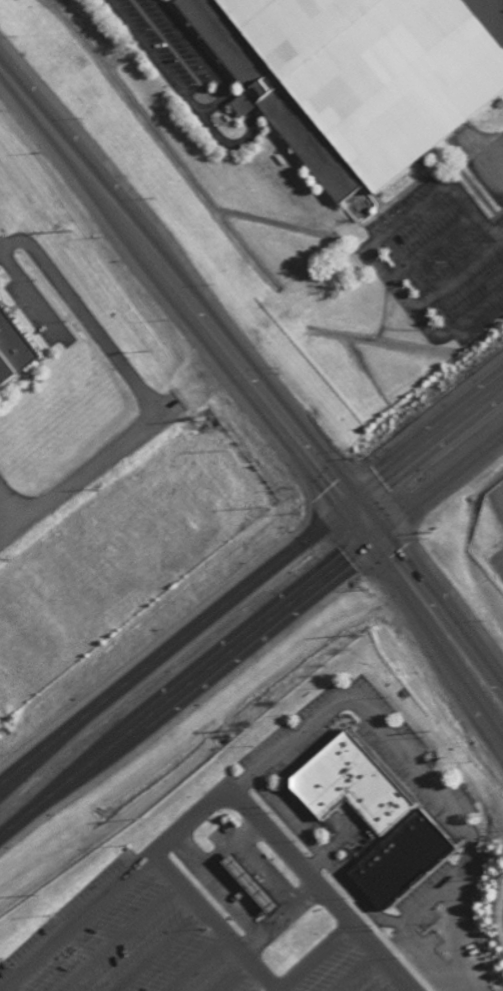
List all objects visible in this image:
building: (361, 75)
building: (11, 349)
road: (253, 387)
road: (116, 452)
traffic signals: (348, 507)
traffic signals: (381, 544)
road: (251, 586)
road: (253, 645)
road: (416, 768)
building: (354, 784)
road: (219, 799)
building: (402, 858)
road: (316, 862)
road: (346, 876)
building: (247, 885)
road: (218, 922)
road: (121, 936)
road: (161, 950)
road: (430, 953)
road: (317, 958)
road: (198, 963)
road: (359, 972)
road: (240, 977)
road: (392, 983)

